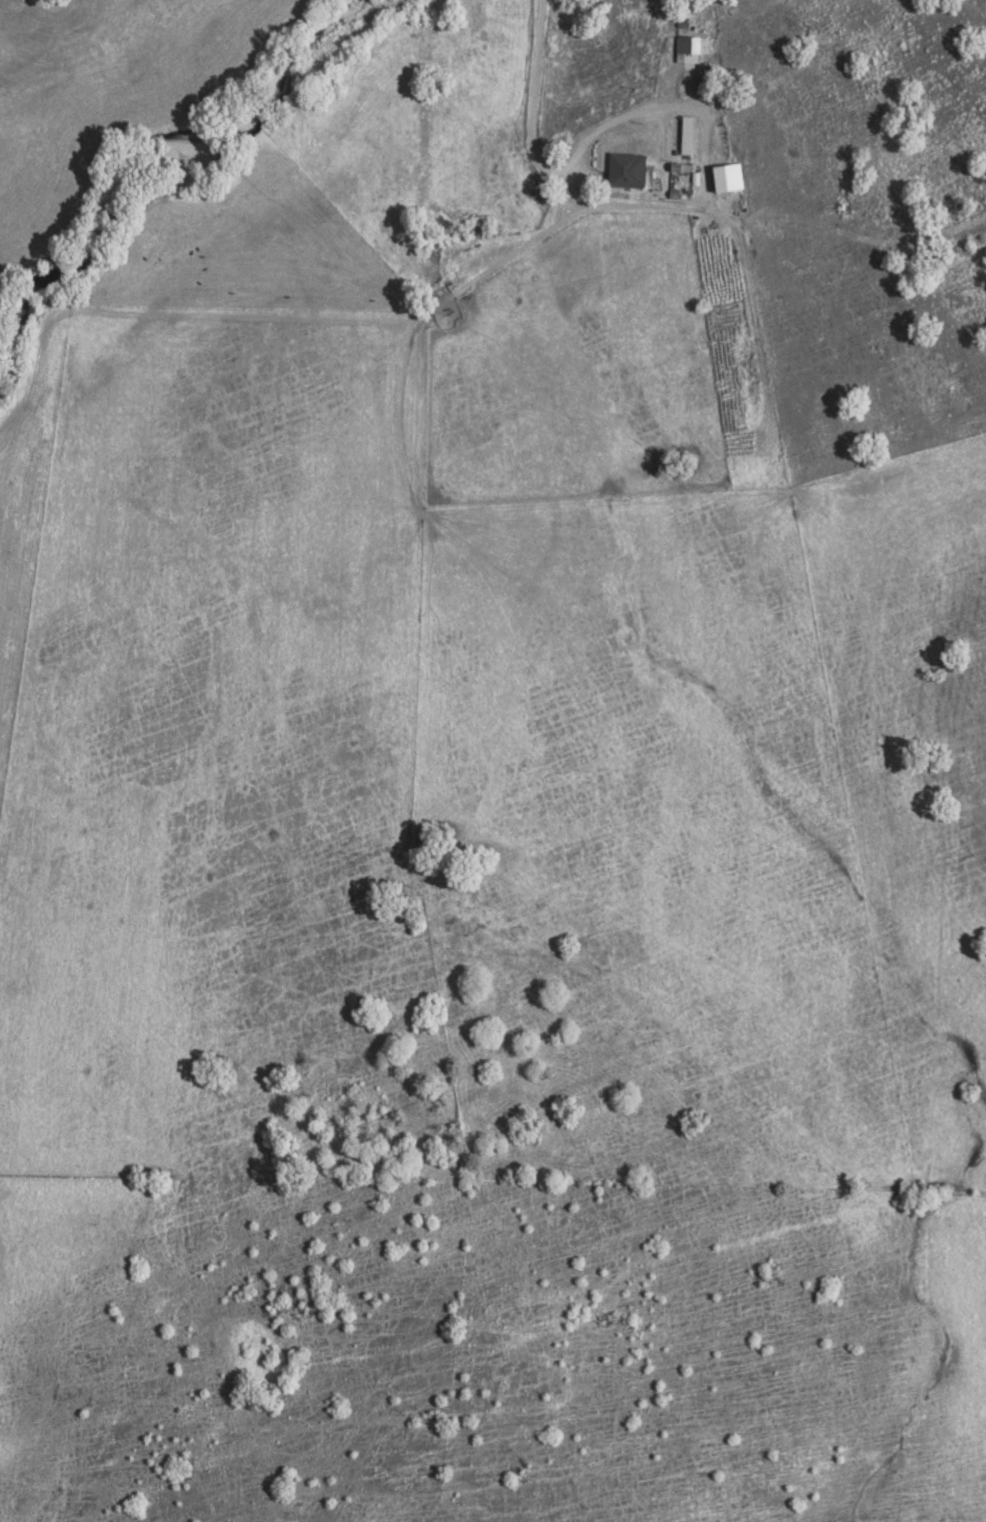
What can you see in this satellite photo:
building: (686, 14)
building: (687, 132)
road: (540, 165)
building: (627, 167)
building: (727, 174)

